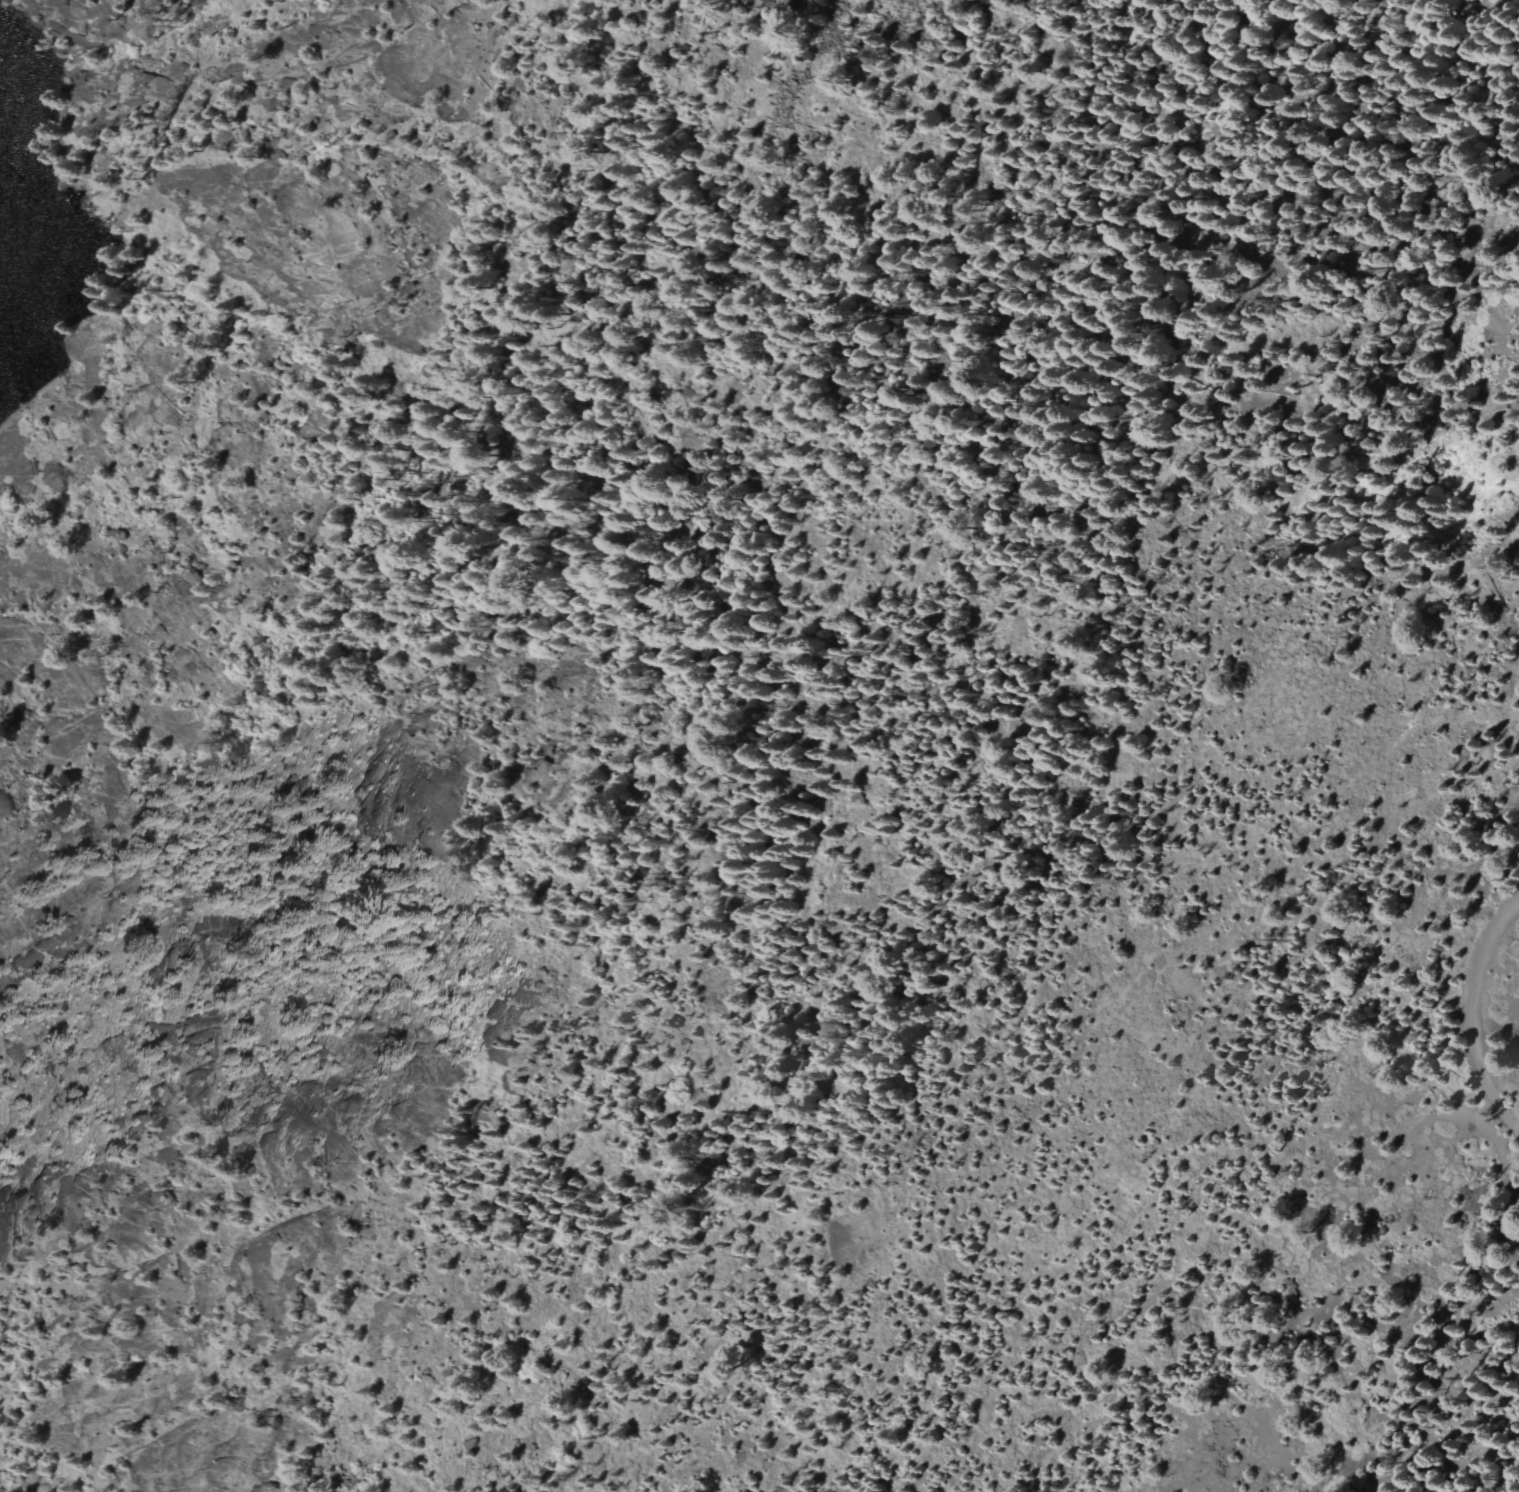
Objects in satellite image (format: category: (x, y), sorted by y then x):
road: (1511, 321)
road: (1472, 1053)

